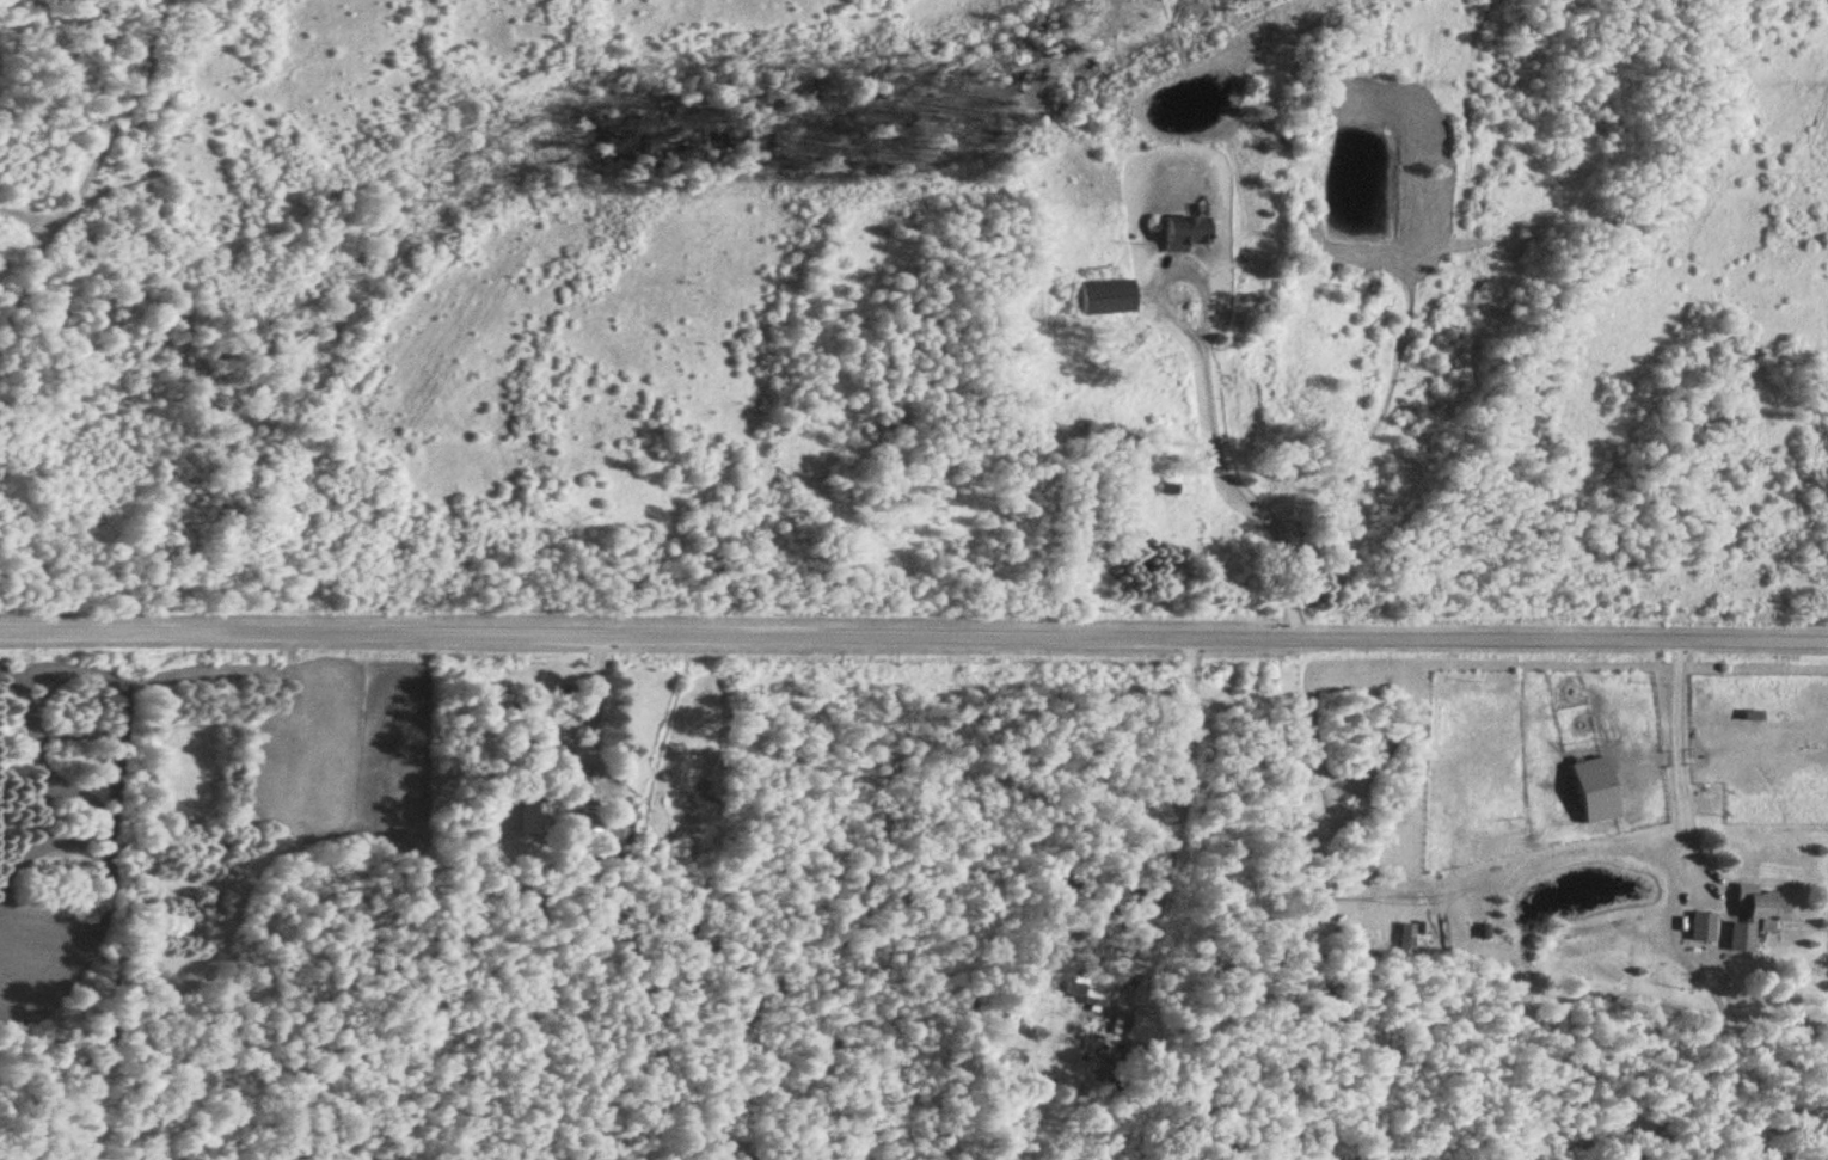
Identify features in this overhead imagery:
building: (1186, 232)
building: (1108, 296)
road: (1203, 399)
building: (1272, 481)
road: (913, 639)
road: (1680, 771)
building: (620, 772)
building: (587, 787)
building: (1596, 787)
building: (530, 818)
building: (1421, 851)
building: (1754, 916)
building: (1703, 925)
building: (1406, 935)

